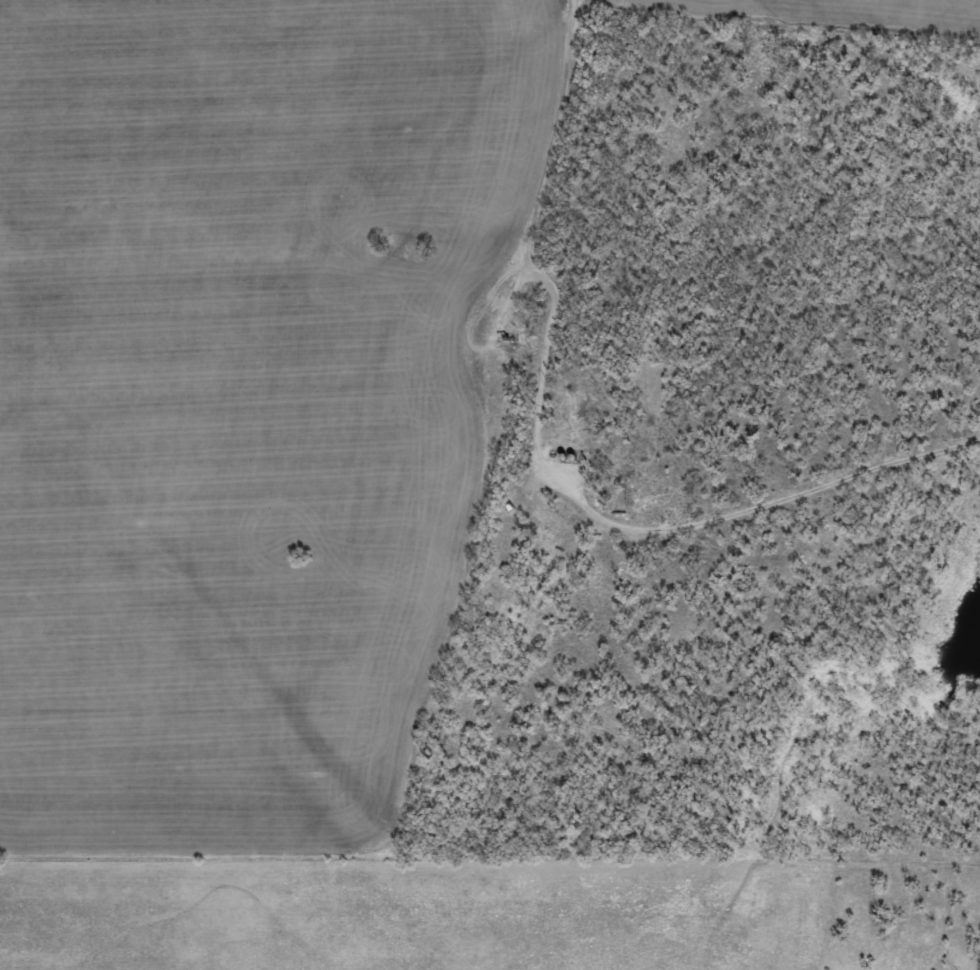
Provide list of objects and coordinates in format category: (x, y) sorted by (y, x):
road: (532, 371)

